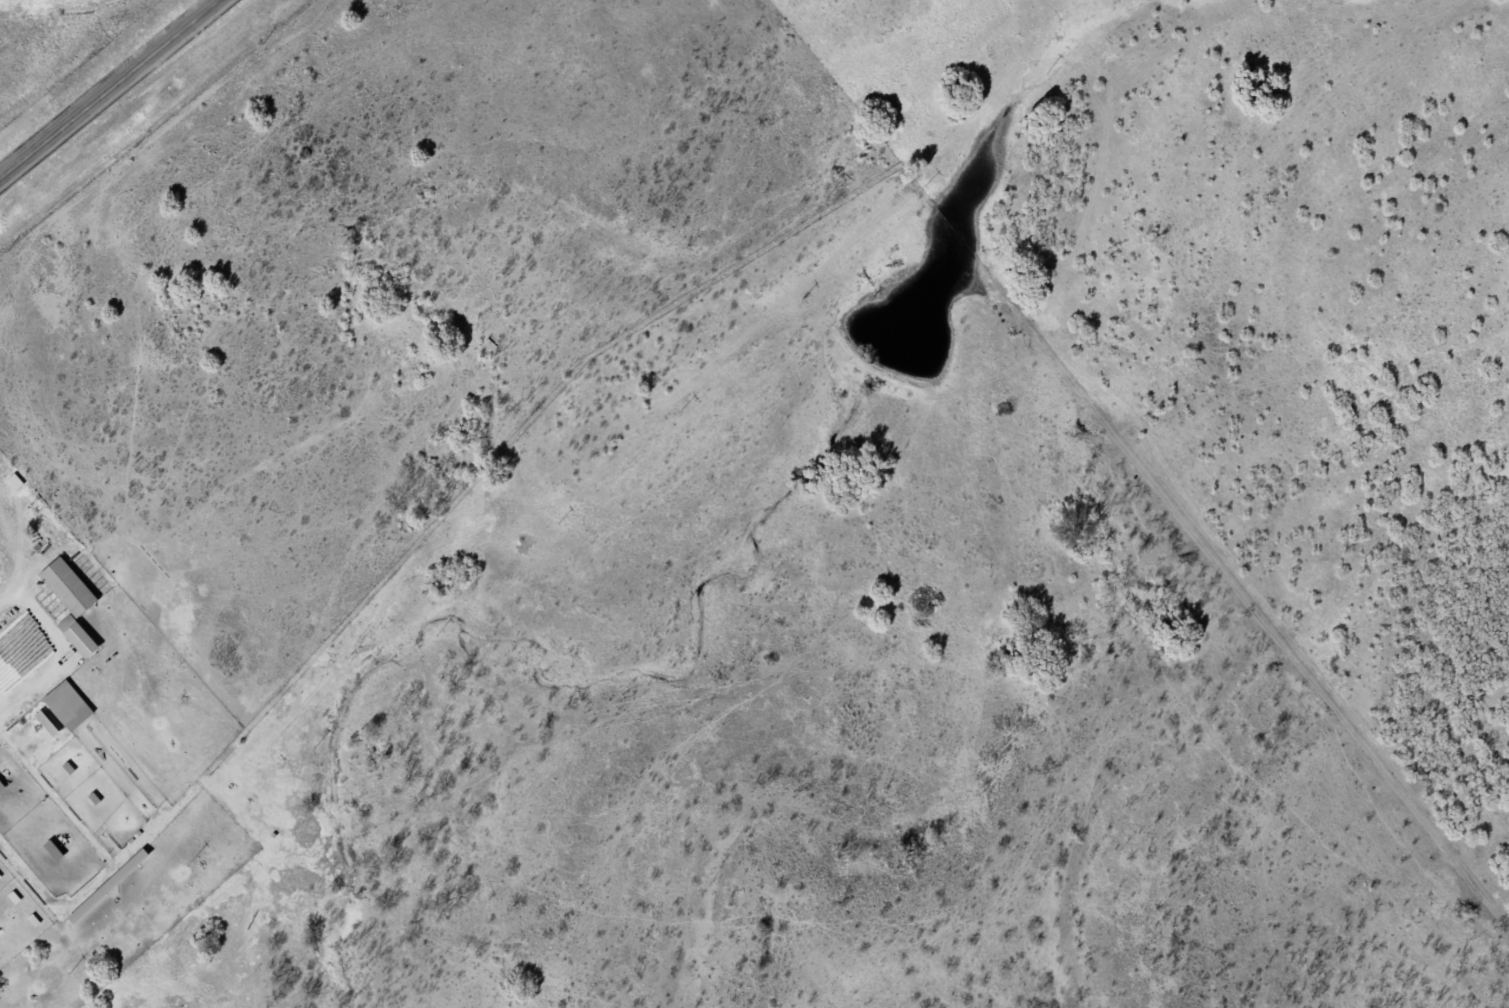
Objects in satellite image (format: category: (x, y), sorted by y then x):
road: (109, 87)
building: (69, 587)
road: (10, 605)
building: (79, 636)
building: (69, 705)
road: (155, 769)
building: (55, 850)
building: (110, 887)
road: (31, 980)

